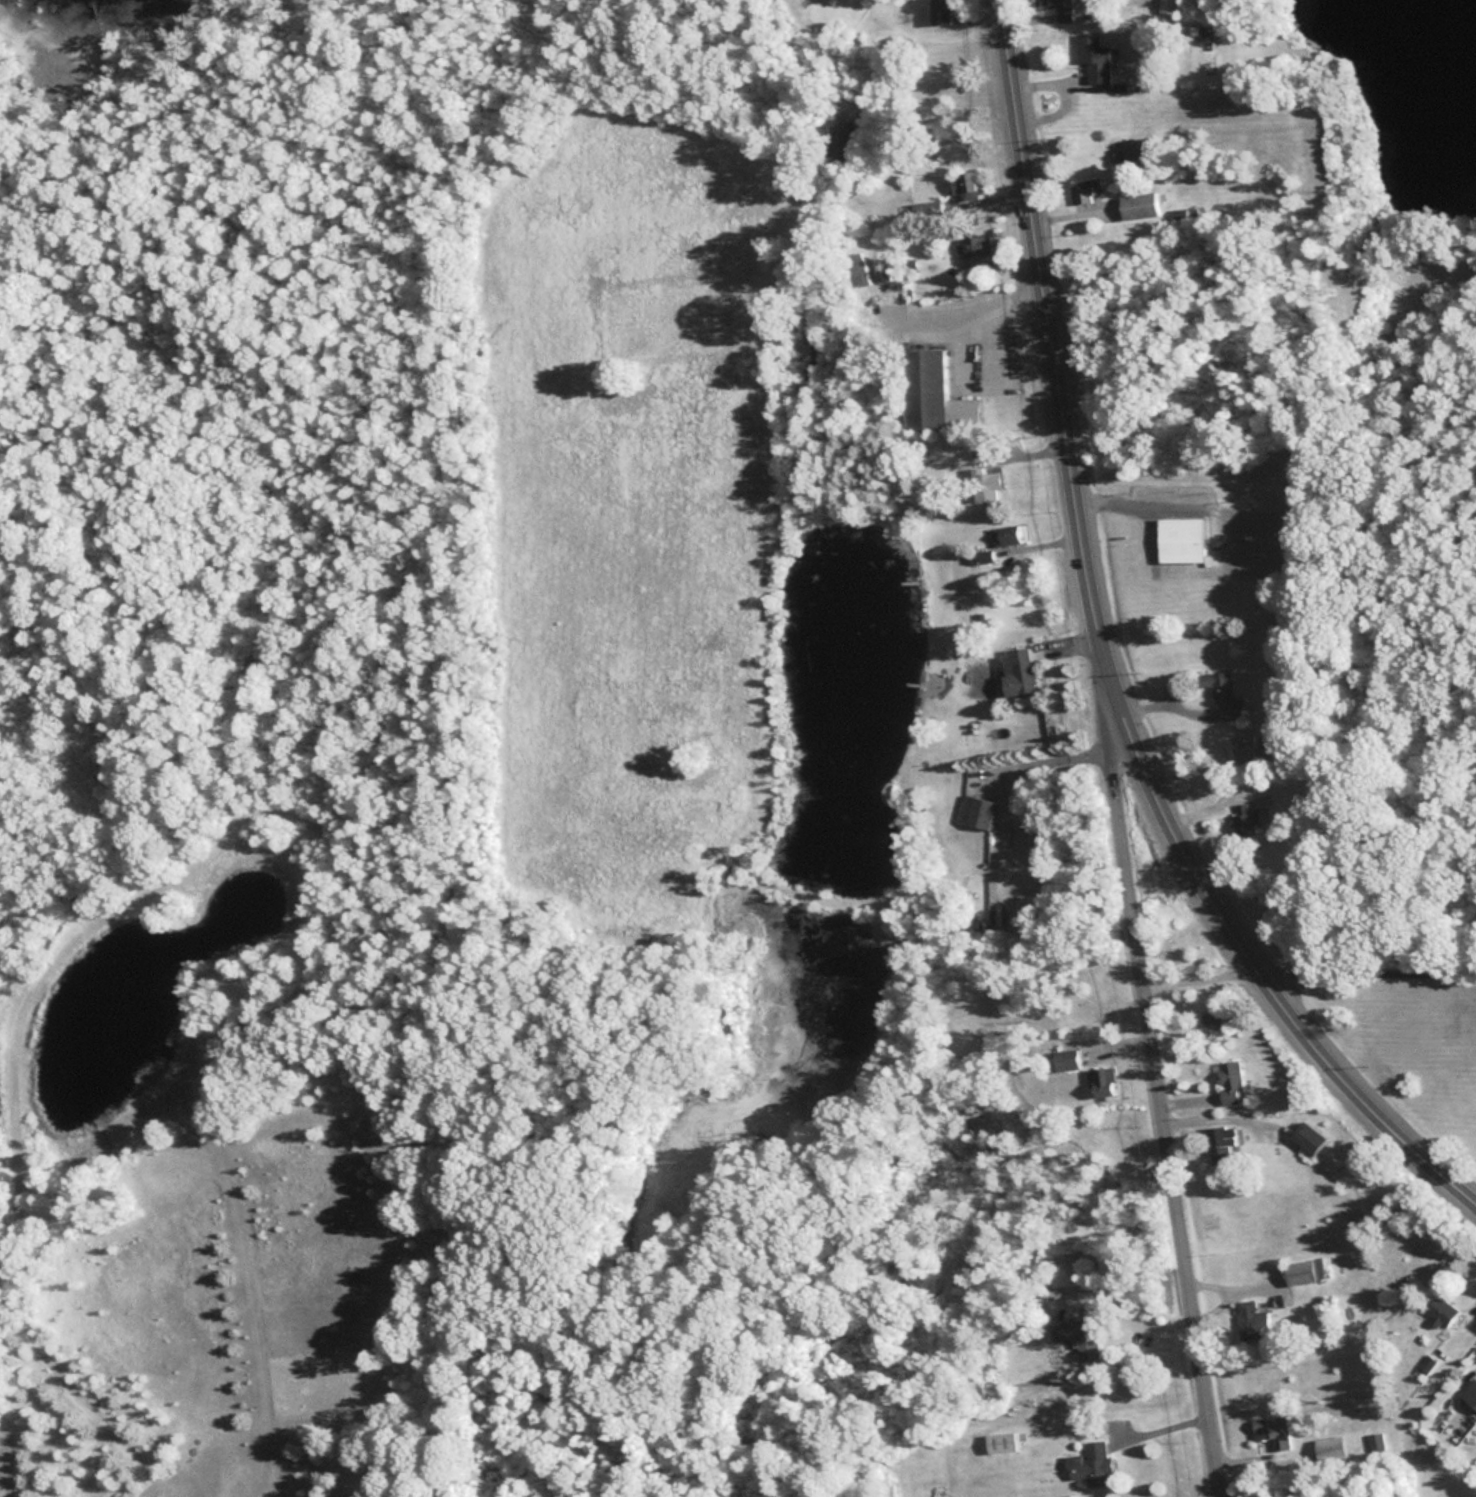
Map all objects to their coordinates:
road: (995, 3)
building: (1061, 8)
building: (939, 11)
building: (1093, 56)
building: (964, 186)
building: (1086, 189)
building: (1138, 205)
building: (973, 246)
building: (924, 389)
building: (985, 484)
building: (1008, 534)
building: (1179, 539)
building: (981, 557)
road: (1104, 663)
building: (1017, 671)
building: (1222, 693)
building: (1238, 744)
building: (975, 810)
building: (1247, 817)
building: (1211, 1016)
park: (1411, 1025)
road: (1158, 1055)
building: (1064, 1058)
building: (1101, 1080)
building: (1229, 1081)
building: (1305, 1137)
building: (1219, 1142)
building: (1064, 1269)
building: (1297, 1271)
building: (1440, 1309)
building: (1251, 1320)
building: (1077, 1336)
building: (1469, 1393)
building: (1272, 1430)
building: (1375, 1441)
building: (1329, 1447)
building: (1089, 1464)

